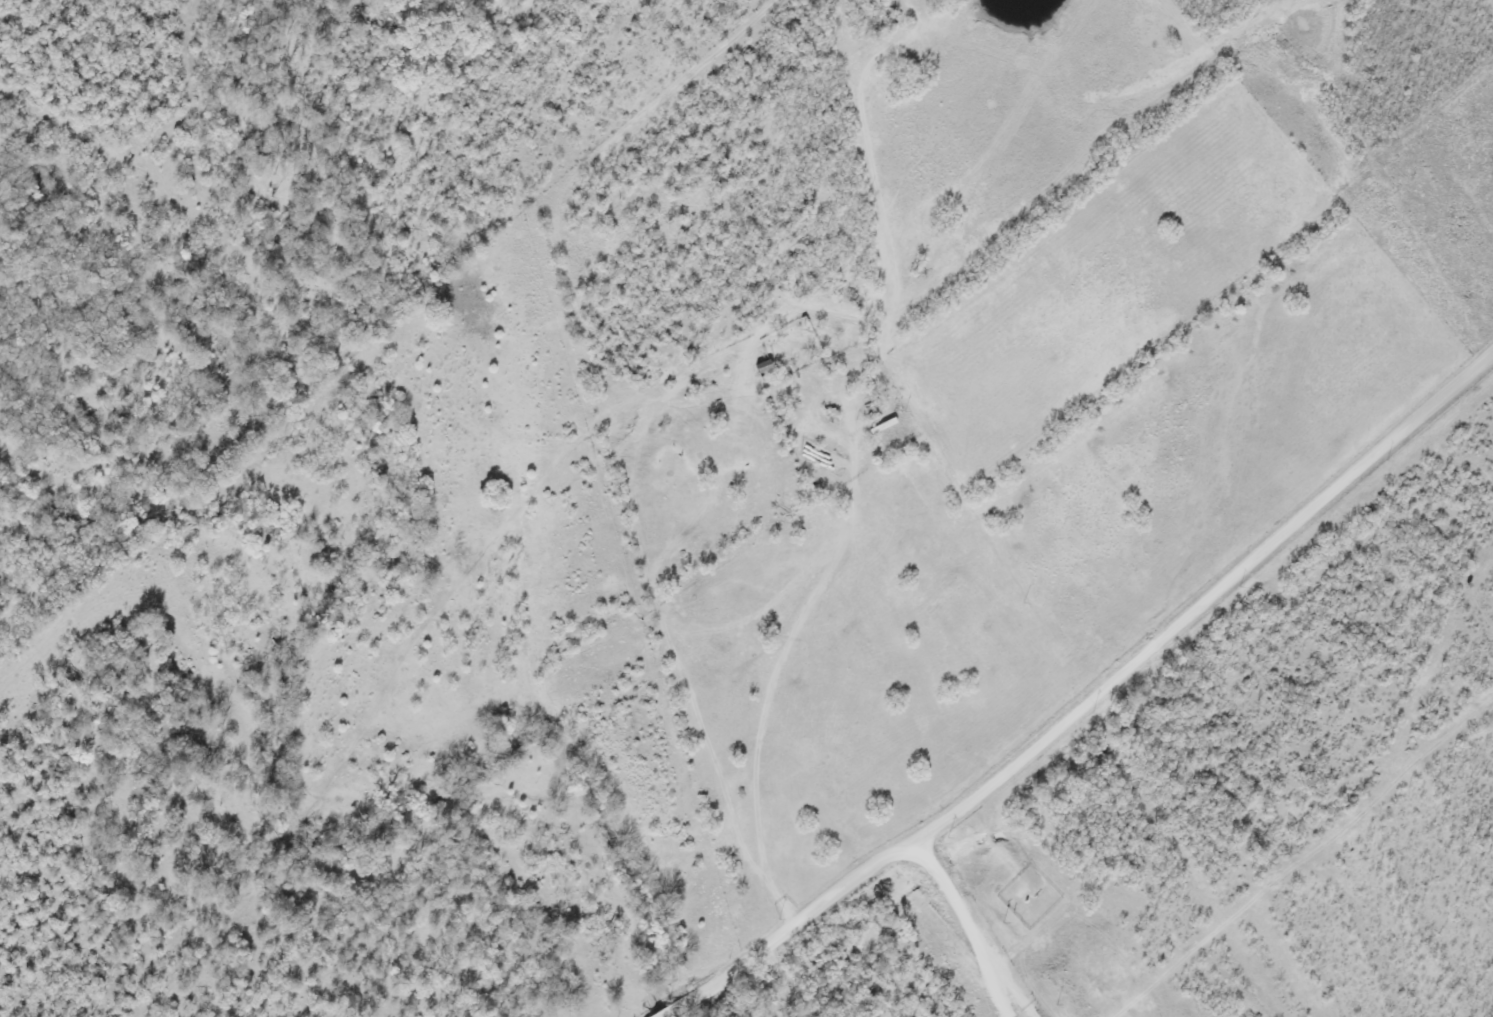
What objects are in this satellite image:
road: (786, 650)
road: (1089, 703)
road: (975, 930)

